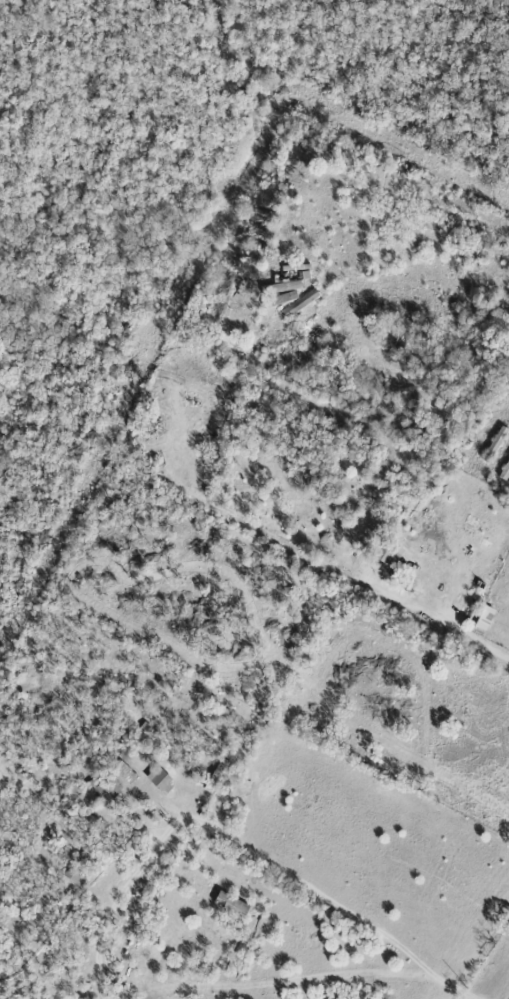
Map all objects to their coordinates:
building: (281, 291)
building: (496, 441)
building: (505, 472)
building: (386, 551)
road: (466, 636)
building: (122, 769)
building: (162, 780)
building: (109, 789)
building: (75, 876)
road: (334, 898)
building: (233, 904)

